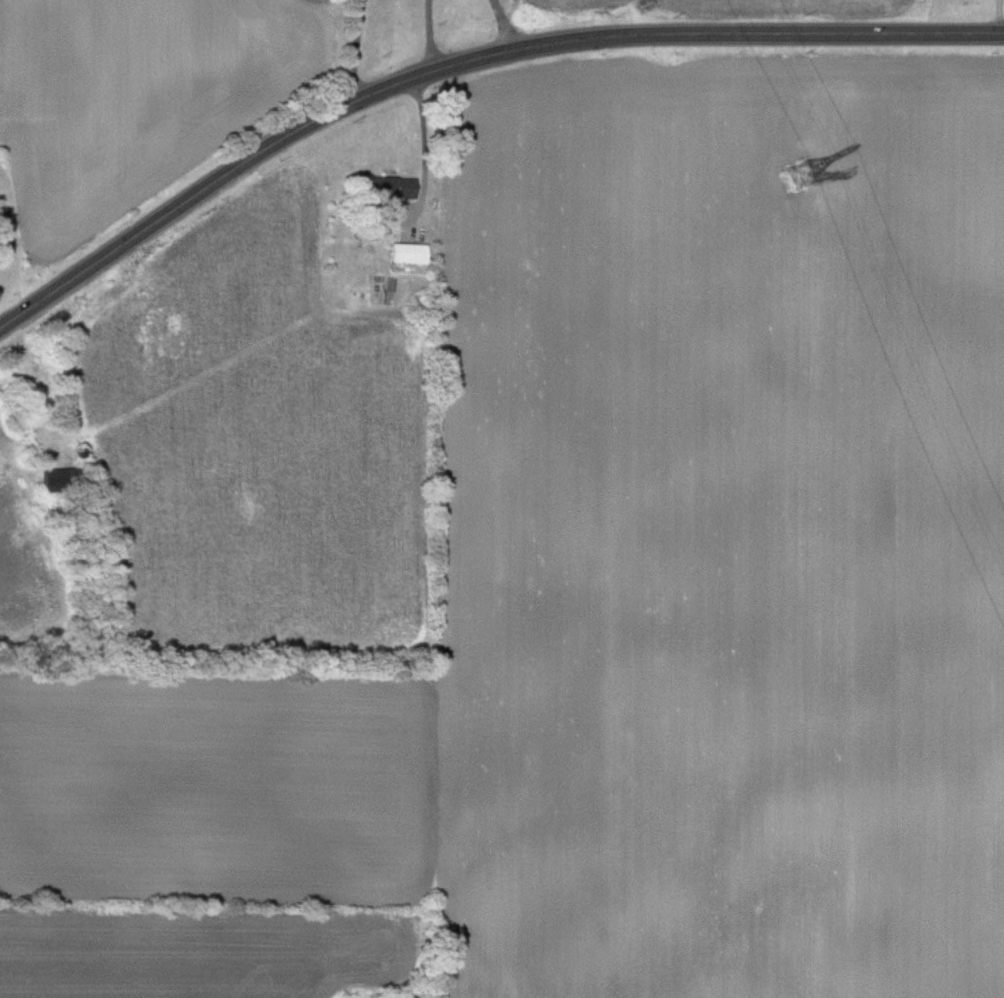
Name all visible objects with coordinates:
road: (999, 16)
road: (429, 35)
road: (355, 49)
road: (466, 60)
road: (425, 149)
power tower: (810, 162)
building: (390, 187)
building: (406, 253)
building: (65, 478)

